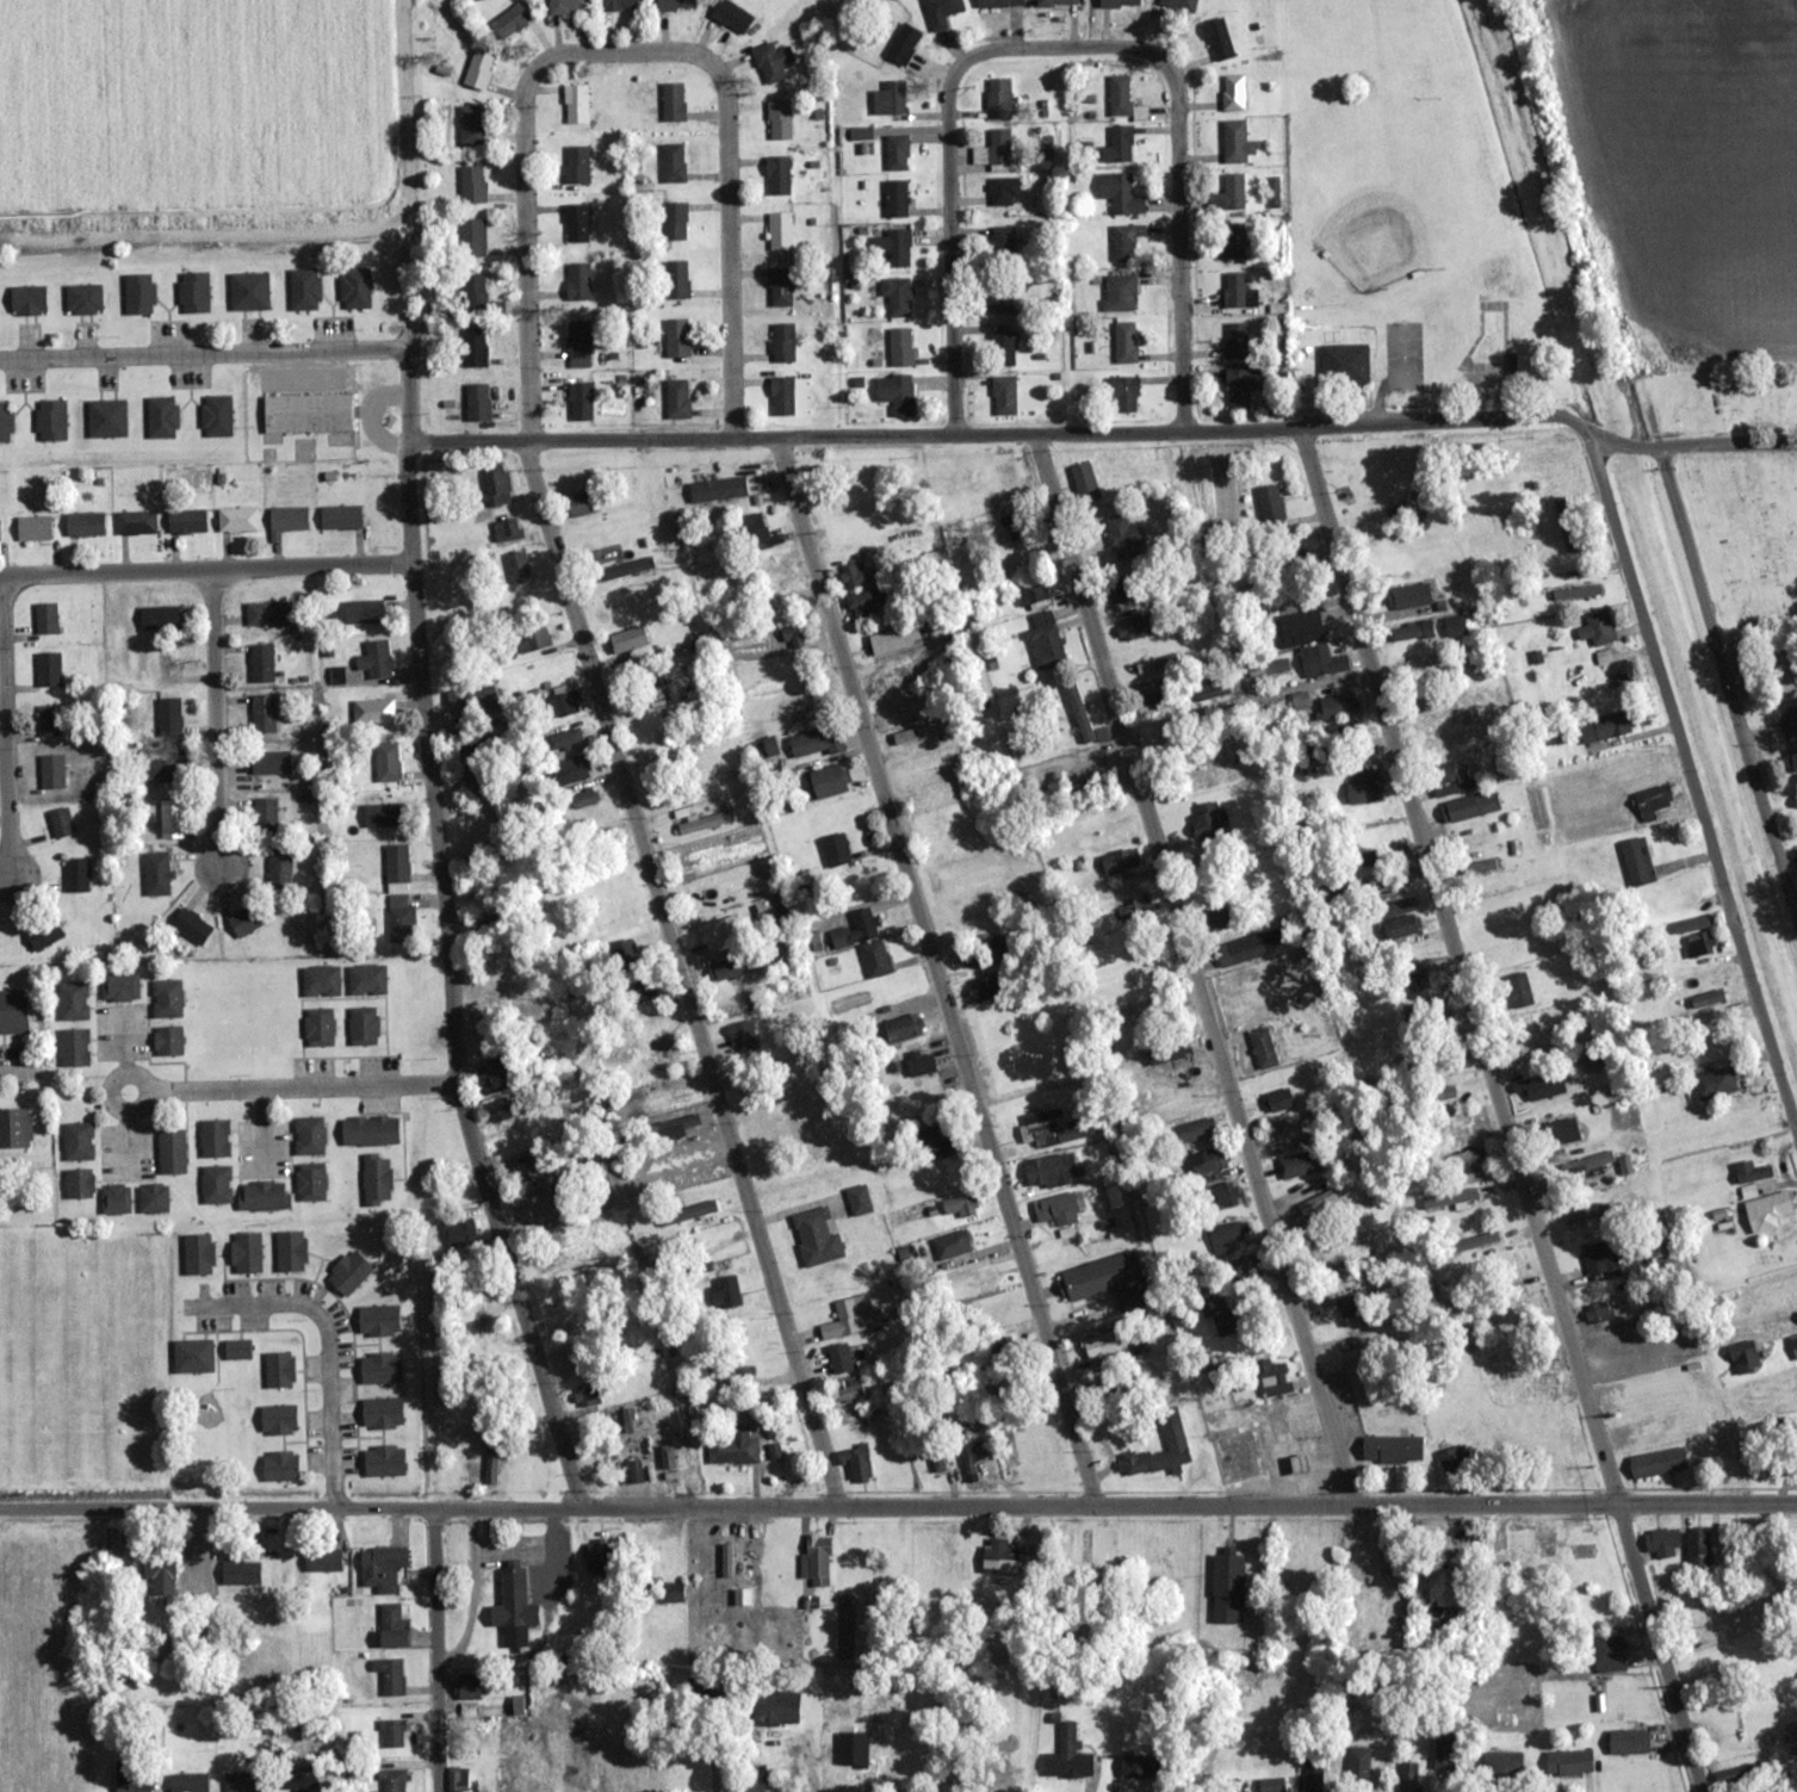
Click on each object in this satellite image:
building: (998, 2)
building: (1056, 2)
building: (1119, 2)
building: (620, 5)
building: (675, 5)
building: (1179, 5)
building: (568, 6)
building: (941, 11)
building: (731, 17)
building: (510, 20)
building: (1219, 39)
building: (903, 44)
building: (772, 61)
building: (479, 69)
building: (1233, 93)
building: (1120, 95)
building: (890, 98)
building: (998, 99)
building: (673, 101)
building: (576, 104)
building: (780, 120)
building: (470, 125)
building: (1234, 141)
building: (1119, 145)
building: (994, 149)
building: (897, 153)
building: (673, 162)
building: (576, 163)
building: (779, 175)
building: (472, 184)
road: (1179, 191)
building: (1004, 192)
building: (1233, 192)
building: (1120, 194)
road: (950, 196)
road: (525, 198)
building: (896, 199)
road: (729, 212)
building: (675, 221)
building: (576, 223)
building: (780, 231)
building: (471, 238)
building: (1234, 241)
building: (1126, 242)
building: (1002, 243)
building: (894, 248)
building: (677, 280)
building: (578, 281)
building: (780, 287)
building: (355, 289)
building: (304, 290)
building: (1238, 290)
building: (249, 292)
building: (193, 293)
building: (473, 293)
building: (1120, 293)
building: (140, 294)
building: (897, 297)
building: (1000, 297)
building: (83, 299)
building: (27, 300)
building: (677, 337)
building: (1237, 339)
building: (1126, 342)
building: (782, 343)
building: (578, 345)
building: (475, 347)
building: (900, 347)
building: (1004, 349)
road: (204, 354)
building: (1346, 365)
building: (1243, 385)
building: (1124, 392)
building: (896, 393)
building: (1004, 395)
building: (782, 396)
building: (677, 399)
building: (477, 402)
building: (580, 402)
building: (306, 413)
building: (216, 415)
building: (162, 417)
building: (106, 418)
building: (51, 421)
building: (6, 422)
road: (1000, 433)
road: (1729, 442)
building: (1005, 479)
building: (1085, 482)
building: (497, 484)
building: (718, 489)
building: (838, 497)
building: (580, 503)
building: (1269, 503)
building: (1563, 513)
building: (341, 516)
building: (237, 519)
building: (287, 520)
building: (136, 521)
building: (186, 521)
building: (1015, 521)
building: (85, 523)
building: (35, 527)
building: (507, 529)
building: (757, 532)
building: (849, 537)
building: (1124, 537)
building: (1023, 557)
building: (1283, 557)
building: (518, 565)
building: (626, 568)
road: (206, 570)
building: (855, 573)
building: (1120, 589)
building: (1578, 593)
building: (1035, 594)
building: (1409, 595)
building: (863, 601)
building: (363, 610)
building: (266, 613)
building: (45, 616)
building: (159, 616)
building: (1455, 625)
building: (1133, 627)
building: (1301, 627)
building: (1598, 627)
building: (1413, 630)
building: (793, 635)
building: (533, 638)
building: (894, 638)
building: (628, 639)
building: (1046, 643)
building: (374, 659)
building: (1321, 661)
building: (261, 662)
building: (1144, 665)
building: (167, 666)
building: (49, 669)
road: (1729, 683)
building: (1210, 687)
building: (1076, 692)
building: (471, 695)
building: (1151, 699)
building: (563, 701)
building: (1337, 705)
building: (1474, 707)
building: (372, 711)
building: (262, 713)
building: (169, 715)
building: (49, 720)
building: (1790, 720)
building: (1431, 721)
road: (216, 724)
building: (1606, 726)
building: (919, 732)
road: (7, 733)
building: (565, 738)
building: (817, 742)
building: (1791, 759)
building: (386, 761)
building: (269, 762)
building: (571, 769)
building: (51, 770)
building: (165, 771)
building: (1449, 779)
building: (828, 781)
building: (1365, 781)
road: (1693, 786)
building: (584, 798)
building: (1652, 801)
building: (1469, 807)
building: (383, 814)
building: (264, 816)
building: (172, 818)
building: (61, 821)
building: (1206, 821)
building: (705, 823)
building: (469, 835)
building: (836, 849)
building: (1368, 857)
building: (1120, 860)
building: (1637, 861)
building: (397, 862)
building: (1477, 867)
building: (279, 868)
building: (156, 873)
building: (76, 874)
building: (1132, 909)
building: (1399, 916)
building: (247, 919)
building: (401, 919)
building: (613, 923)
building: (1691, 924)
building: (191, 925)
building: (856, 929)
building: (43, 932)
building: (717, 932)
road: (447, 937)
building: (1699, 944)
building: (1239, 950)
building: (624, 956)
building: (875, 959)
road: (1194, 969)
road: (934, 972)
building: (1419, 973)
road: (681, 974)
building: (366, 980)
building: (321, 981)
building: (120, 986)
building: (644, 988)
building: (984, 988)
building: (1519, 991)
building: (167, 998)
building: (1708, 999)
building: (1432, 1009)
building: (13, 1012)
building: (73, 1025)
building: (364, 1027)
building: (904, 1027)
building: (318, 1028)
building: (743, 1036)
building: (168, 1041)
building: (1263, 1048)
building: (1165, 1052)
building: (659, 1055)
building: (921, 1062)
building: (495, 1078)
building: (1715, 1083)
road: (438, 1085)
road: (207, 1090)
building: (1543, 1092)
building: (1443, 1093)
building: (674, 1096)
building: (1278, 1100)
road: (1502, 1110)
building: (501, 1111)
building: (14, 1128)
building: (674, 1128)
building: (1287, 1128)
building: (1053, 1129)
building: (370, 1130)
building: (1196, 1130)
building: (1561, 1133)
building: (309, 1136)
building: (215, 1139)
building: (937, 1140)
building: (78, 1141)
building: (171, 1151)
building: (1209, 1161)
building: (1469, 1161)
building: (1588, 1162)
building: (1299, 1165)
building: (1049, 1171)
building: (1750, 1172)
building: (377, 1178)
building: (311, 1182)
building: (79, 1183)
building: (216, 1184)
building: (1225, 1193)
building: (264, 1195)
building: (1114, 1196)
building: (116, 1198)
building: (153, 1198)
building: (1325, 1198)
building: (1450, 1198)
building: (960, 1205)
building: (1059, 1209)
building: (1767, 1210)
building: (1586, 1214)
building: (461, 1232)
building: (1229, 1233)
building: (817, 1238)
building: (1475, 1241)
building: (952, 1245)
building: (291, 1251)
building: (246, 1252)
building: (198, 1254)
building: (1600, 1257)
building: (1238, 1266)
building: (348, 1272)
building: (980, 1279)
building: (1108, 1281)
road: (425, 1297)
building: (1349, 1304)
building: (1790, 1304)
building: (1599, 1313)
building: (851, 1316)
building: (1223, 1316)
building: (378, 1320)
road: (327, 1344)
building: (1102, 1345)
building: (1793, 1345)
building: (1002, 1348)
building: (237, 1350)
building: (193, 1356)
building: (1745, 1357)
building: (839, 1358)
building: (380, 1368)
building: (279, 1370)
road: (502, 1377)
building: (1271, 1378)
building: (1536, 1379)
building: (850, 1383)
building: (589, 1391)
building: (382, 1413)
building: (278, 1420)
building: (1172, 1428)
building: (733, 1449)
building: (1393, 1450)
building: (667, 1456)
building: (596, 1461)
building: (1454, 1461)
building: (384, 1462)
building: (856, 1463)
building: (968, 1463)
building: (1657, 1463)
building: (491, 1465)
building: (1784, 1465)
building: (280, 1467)
building: (633, 1471)
road: (898, 1507)
building: (1662, 1542)
building: (775, 1550)
building: (1698, 1552)
building: (599, 1555)
building: (999, 1557)
building: (322, 1560)
building: (726, 1560)
building: (818, 1560)
building: (382, 1568)
building: (241, 1573)
building: (160, 1574)
building: (1443, 1583)
building: (1227, 1588)
building: (669, 1593)
building: (514, 1608)
building: (394, 1626)
building: (1735, 1645)
road: (435, 1650)
building: (1609, 1654)
building: (390, 1675)
building: (466, 1687)
building: (777, 1707)
building: (391, 1732)
building: (1629, 1741)
building: (1445, 1750)
building: (1067, 1756)
building: (1569, 1762)
building: (1502, 1763)
building: (1138, 1766)
building: (1357, 1766)
building: (1739, 1773)
building: (994, 1775)
building: (1313, 1775)
building: (131, 1777)
building: (1407, 1777)
building: (298, 1779)
building: (458, 1779)
building: (752, 1779)
building: (392, 1780)
building: (188, 1782)
building: (242, 1782)
building: (1271, 1785)

